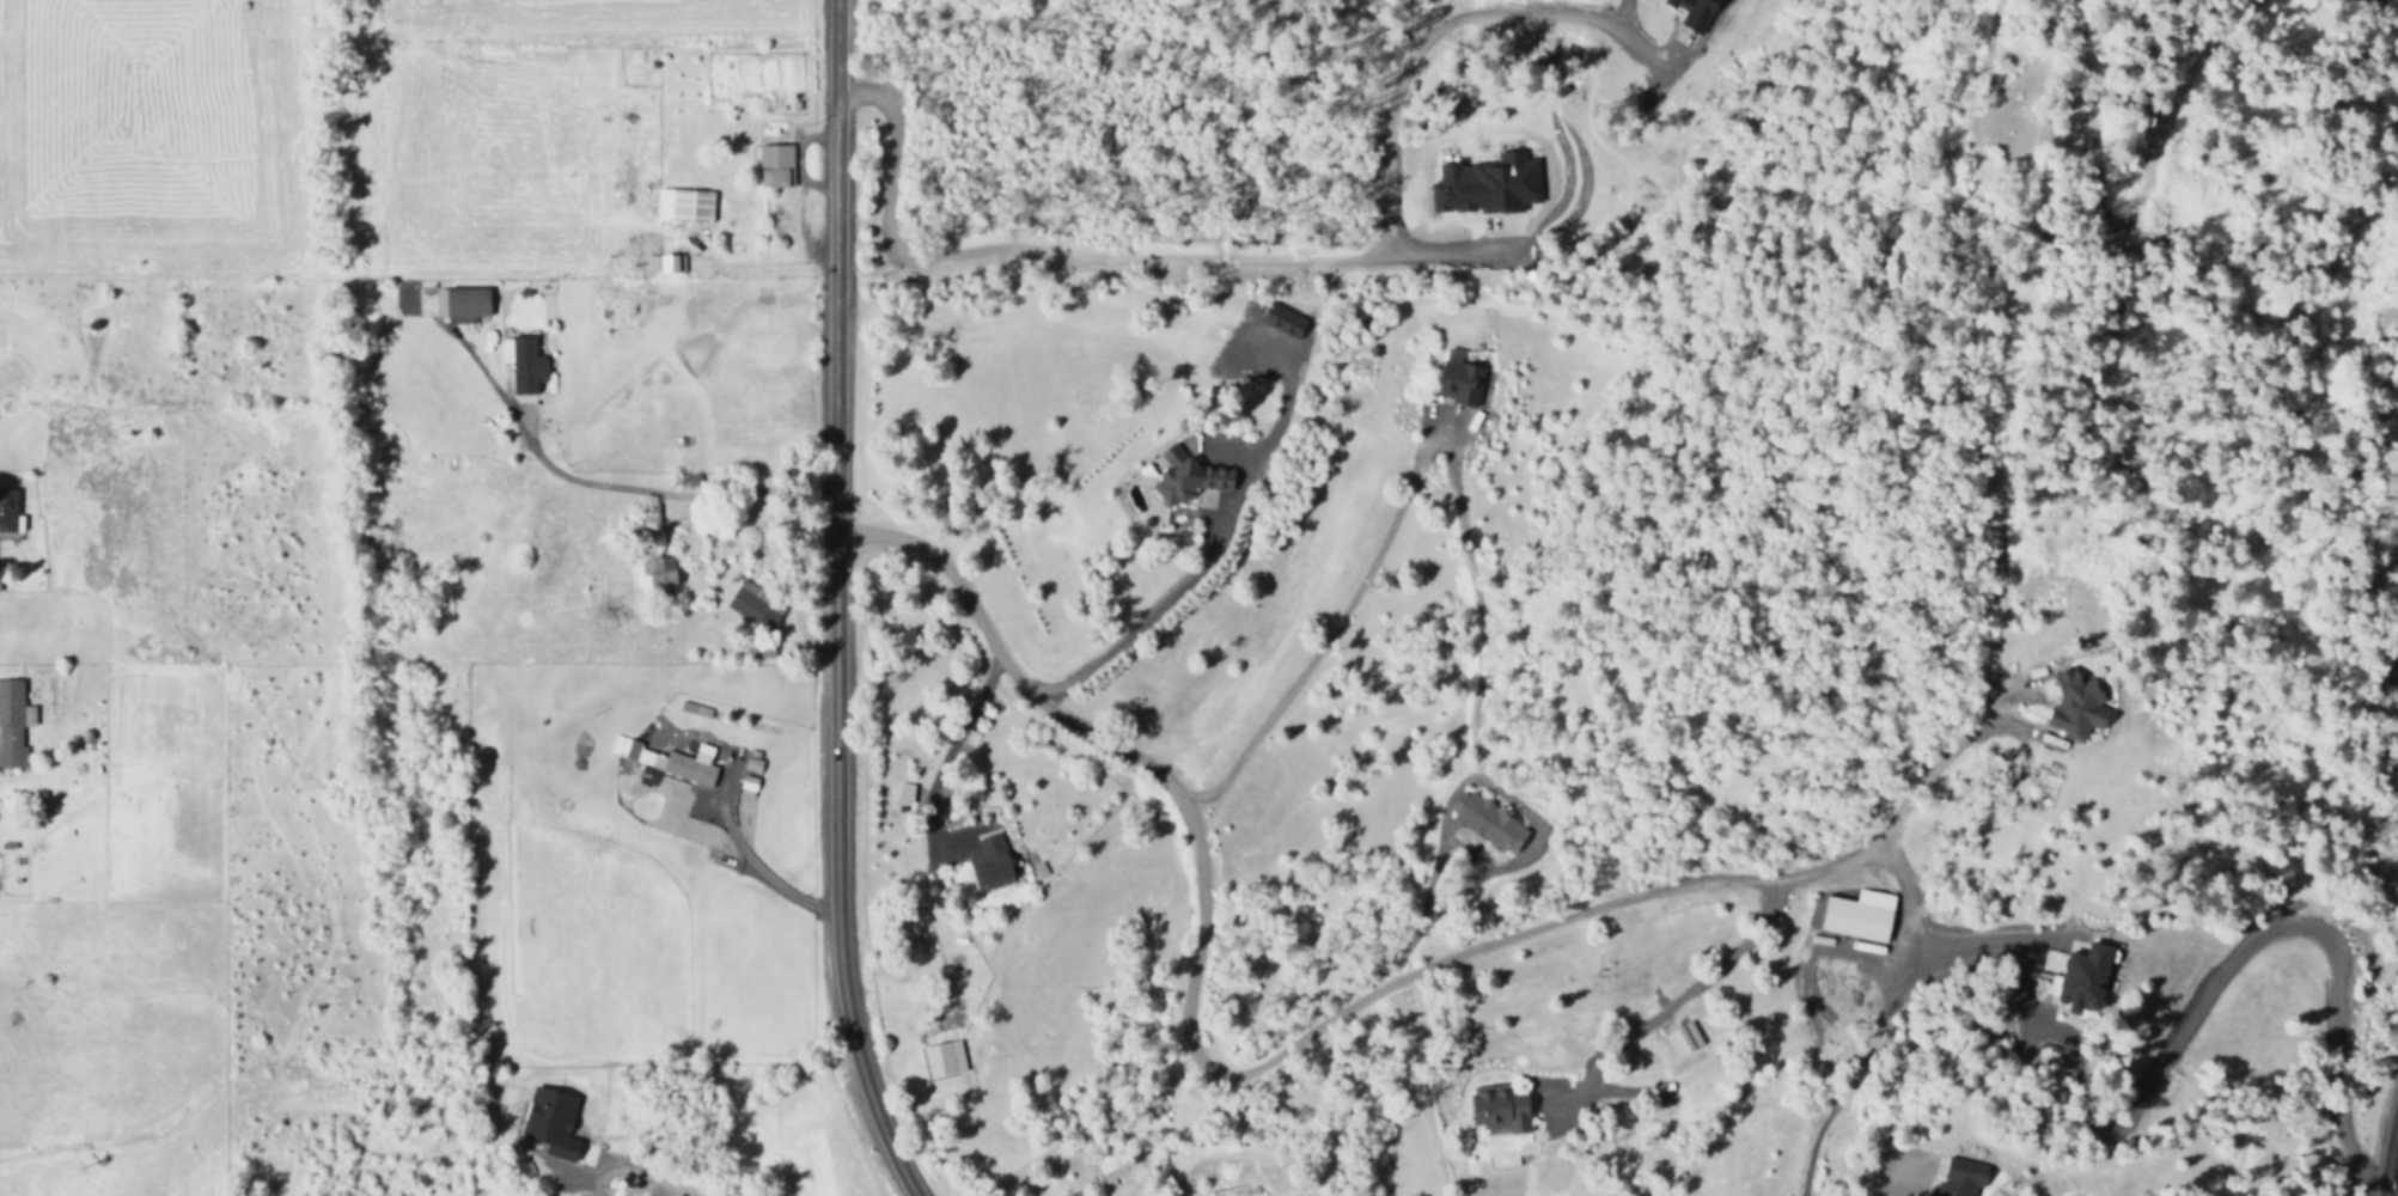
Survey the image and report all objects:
building: (1688, 12)
building: (770, 165)
building: (1481, 184)
building: (678, 205)
building: (660, 263)
building: (458, 304)
building: (499, 350)
building: (520, 365)
building: (1452, 379)
building: (1174, 474)
road: (1995, 478)
building: (7, 512)
building: (655, 576)
road: (831, 604)
building: (750, 606)
building: (757, 649)
building: (2069, 706)
building: (11, 724)
building: (661, 759)
building: (743, 786)
building: (899, 794)
building: (1478, 822)
building: (984, 865)
building: (1851, 915)
road: (1916, 935)
building: (2073, 977)
road: (2217, 986)
building: (1676, 1039)
road: (1288, 1049)
building: (938, 1058)
road: (1861, 1070)
building: (1491, 1109)
building: (544, 1123)
road: (2387, 1149)
building: (1949, 1177)
road: (1881, 1185)

